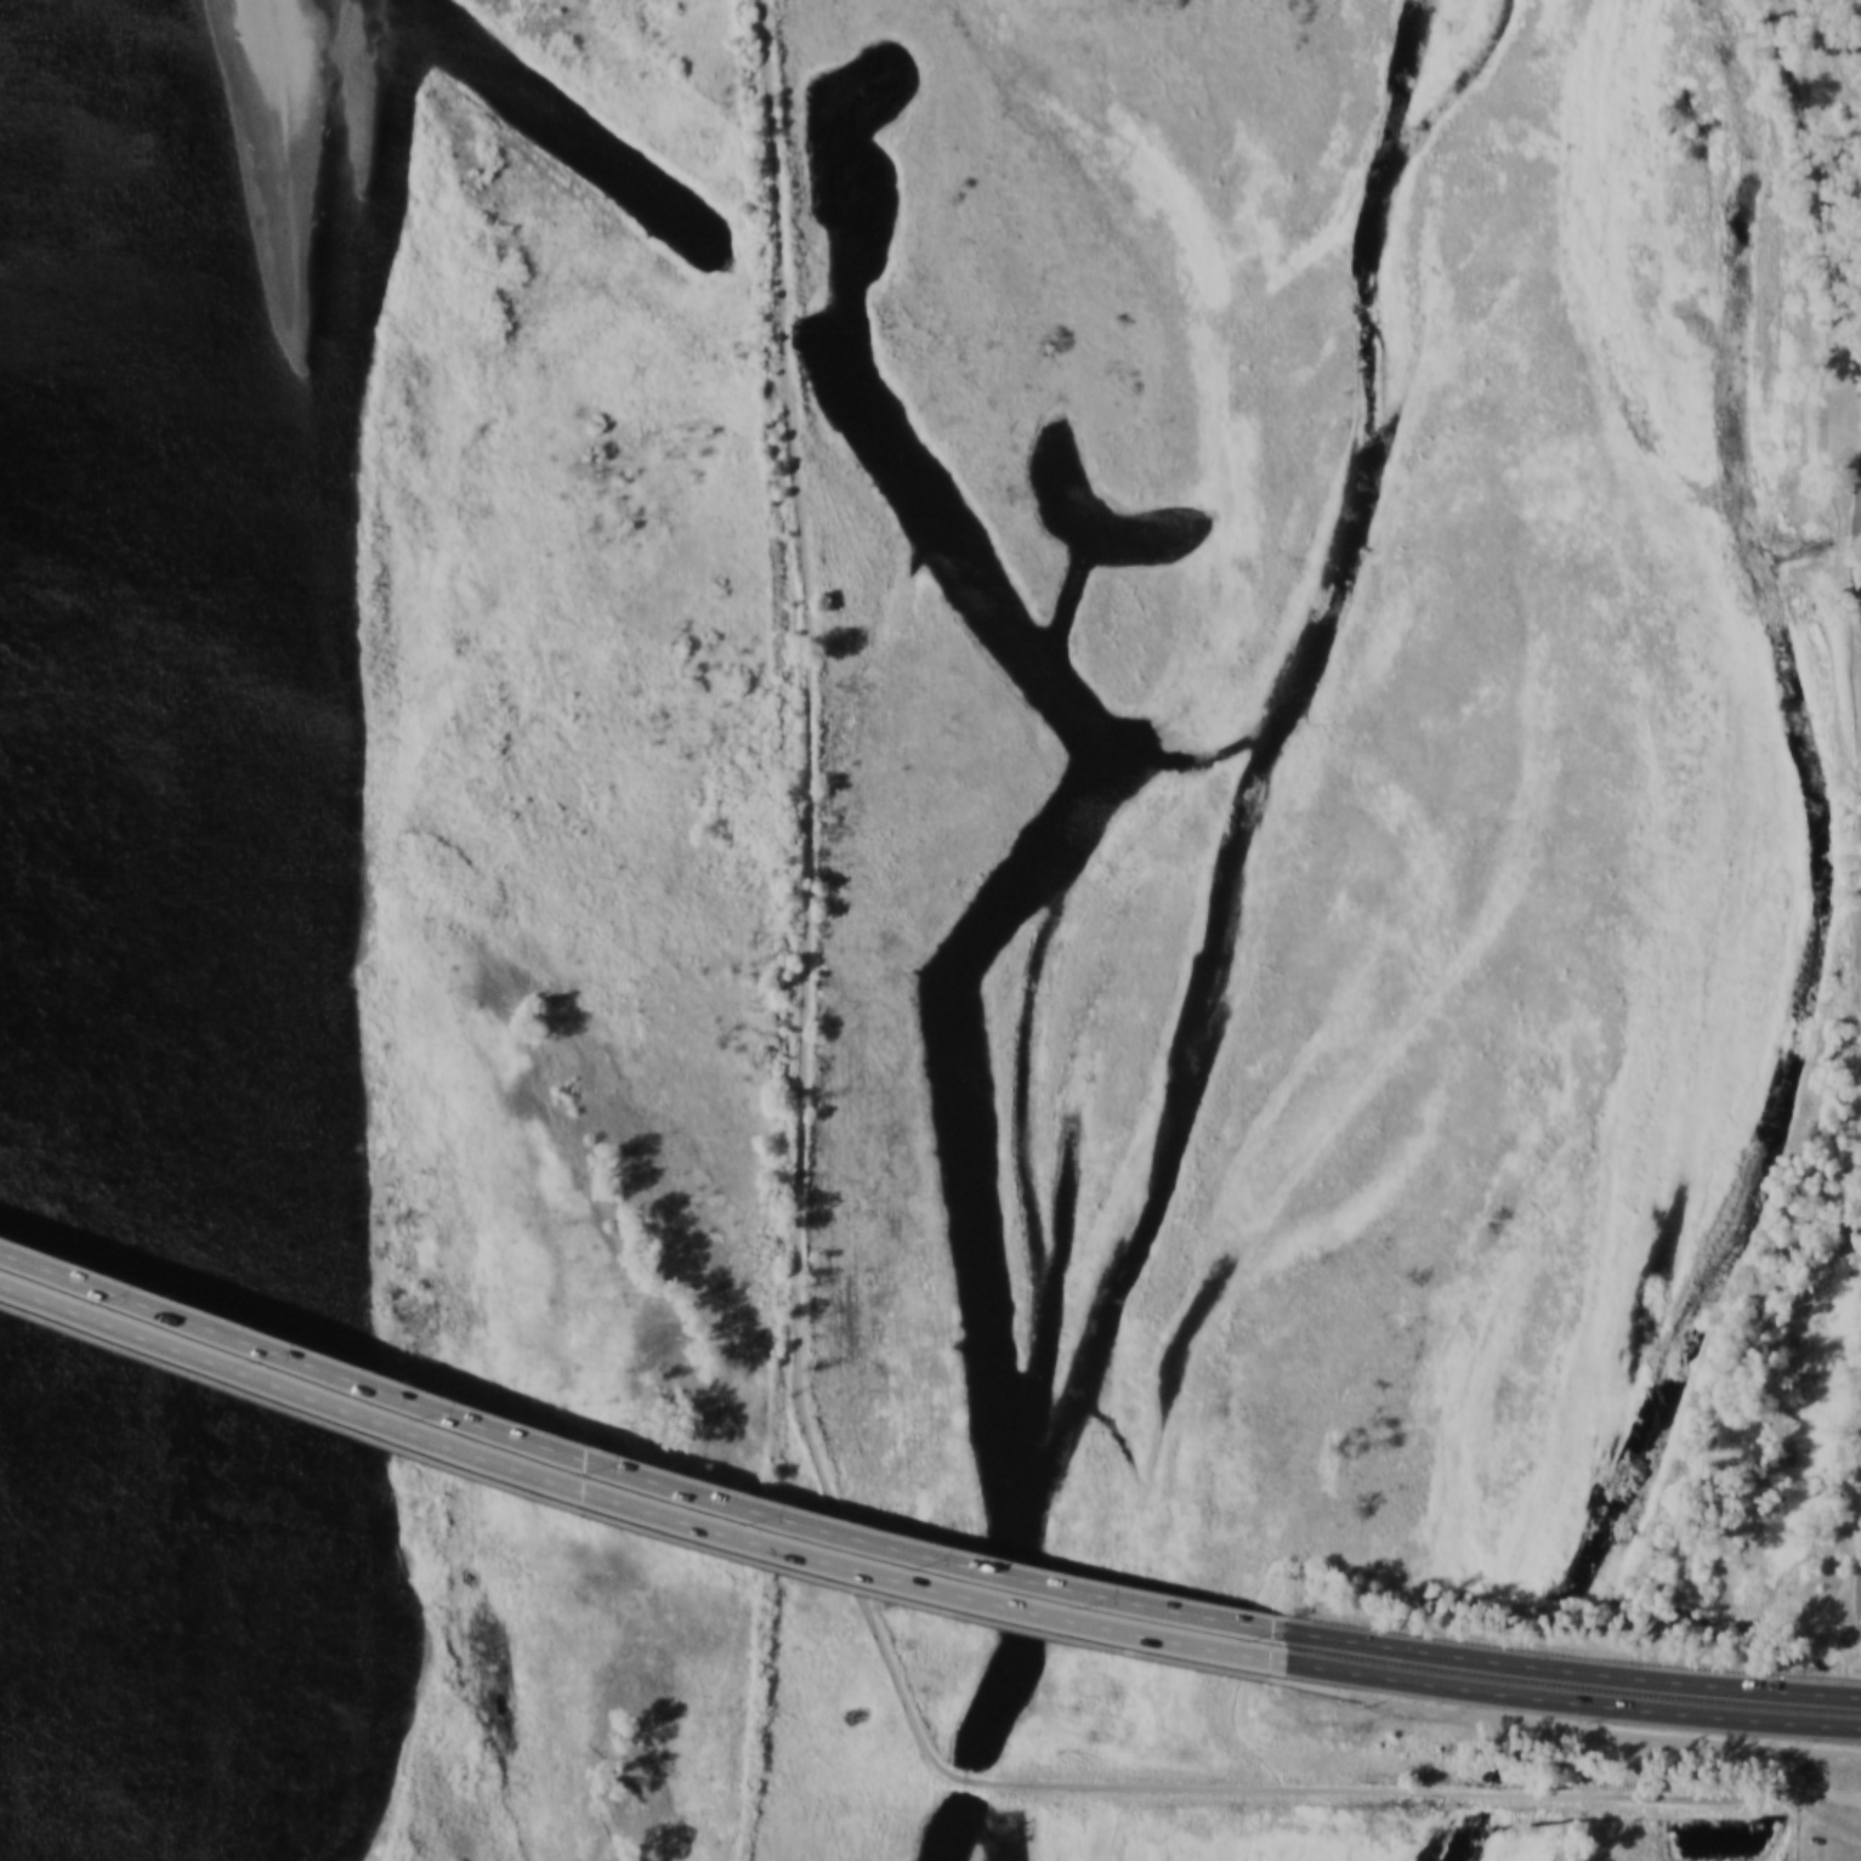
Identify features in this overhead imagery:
road: (1822, 198)
park: (1833, 271)
road: (1860, 511)
road: (1857, 540)
park: (1322, 782)
street lamp: (119, 1303)
road: (802, 1340)
street lamp: (280, 1360)
street lamp: (442, 1419)
road: (634, 1468)
street lamp: (603, 1475)
road: (634, 1500)
road: (631, 1517)
street lamp: (766, 1525)
street lamp: (929, 1570)
street lamp: (1094, 1608)
street lamp: (1425, 1632)
road: (1854, 1640)
street lamp: (1256, 1641)
road: (1829, 1652)
street lamp: (1774, 1672)
road: (1573, 1673)
road: (1572, 1703)
street lamp: (1590, 1724)
road: (1570, 1727)
road: (1826, 1793)
road: (1825, 1814)

